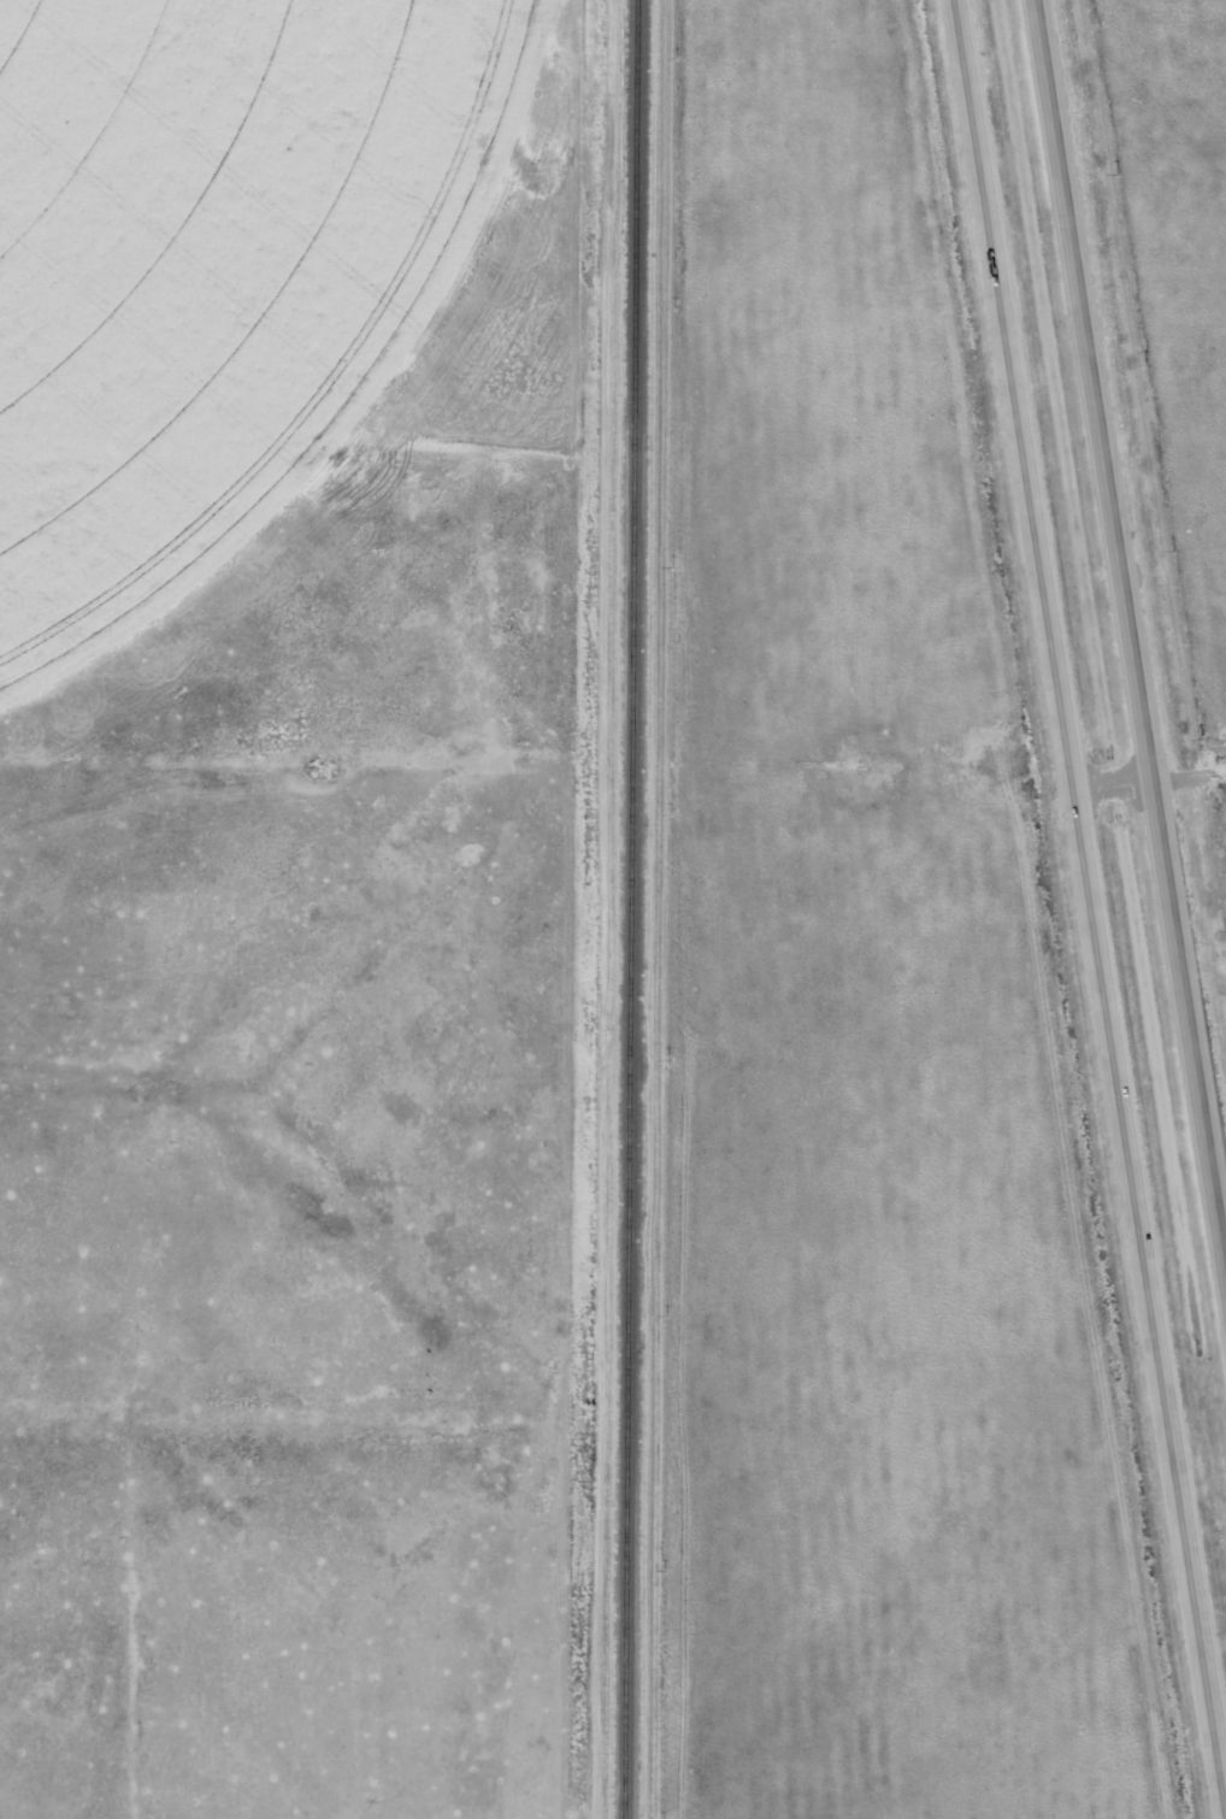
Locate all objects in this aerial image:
road: (1127, 654)
road: (1109, 785)
road: (1089, 902)
railway: (629, 909)

